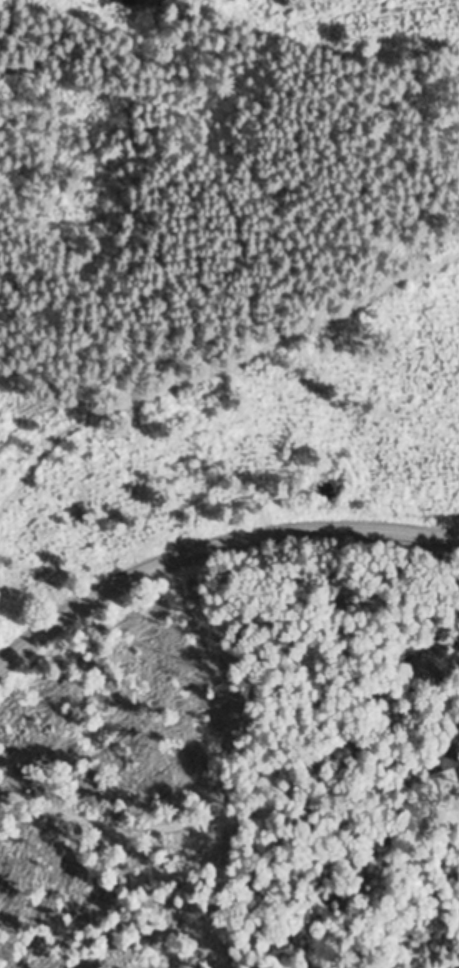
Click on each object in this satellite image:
road: (213, 544)
building: (443, 758)

